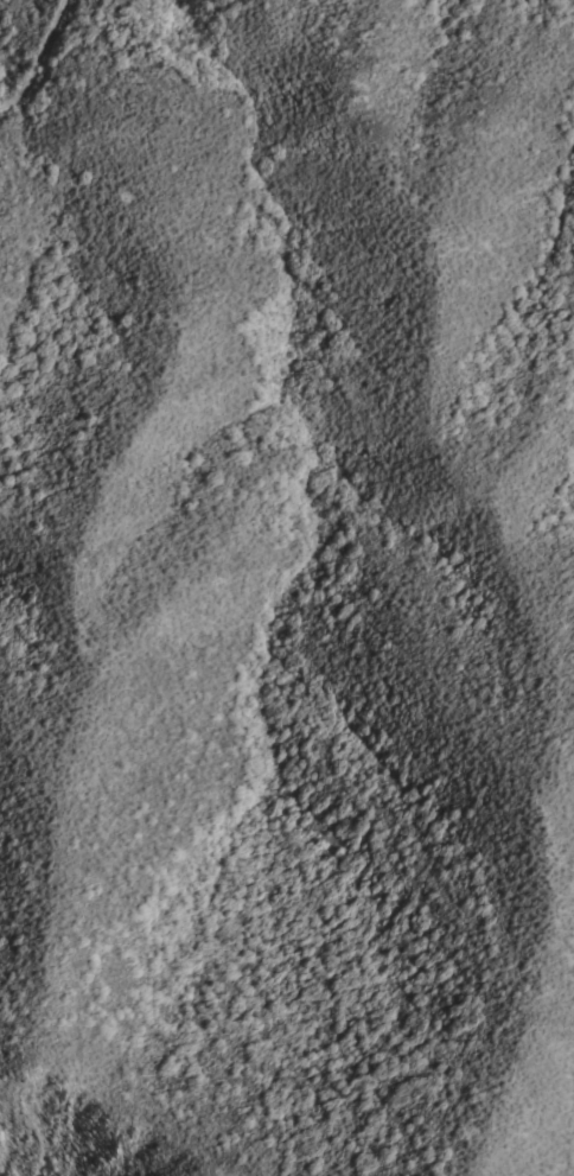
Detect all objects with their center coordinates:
road: (37, 58)

